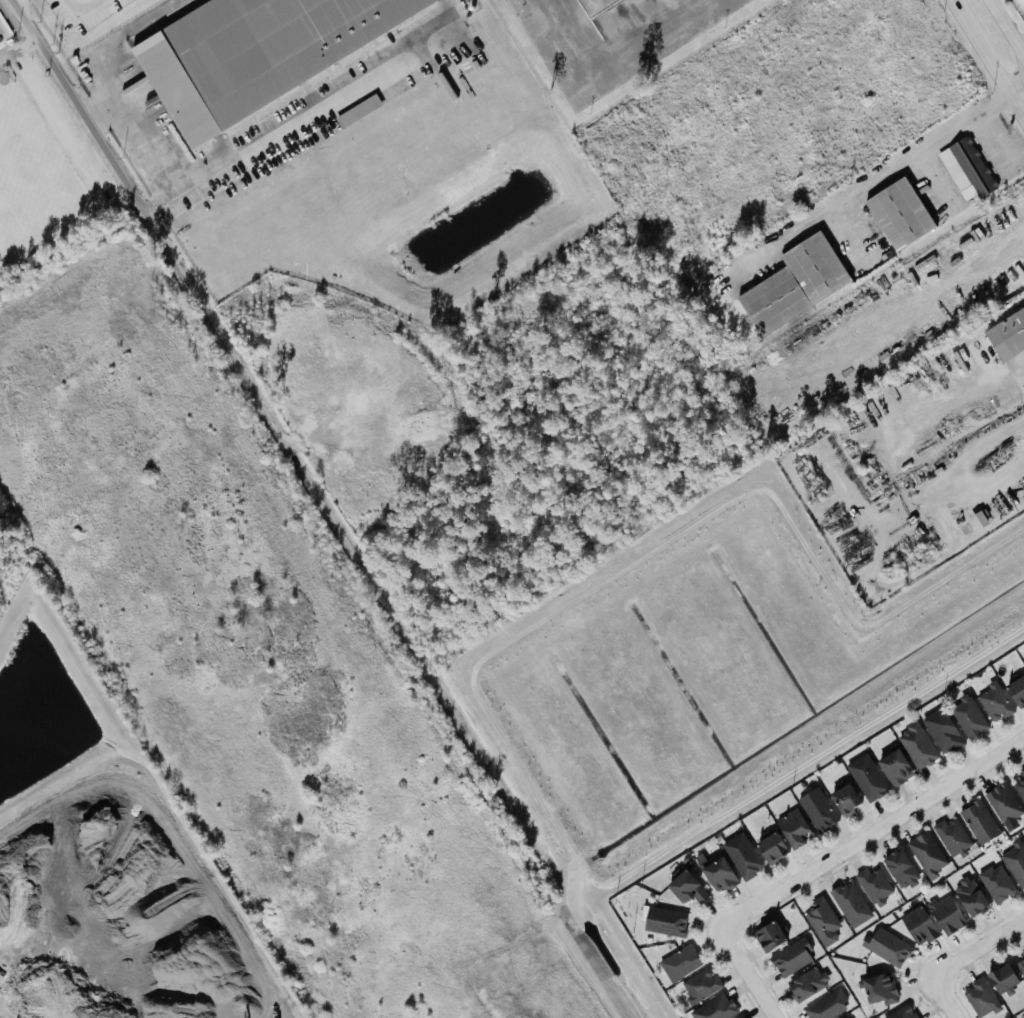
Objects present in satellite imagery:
building: (1018, 1)
road: (80, 15)
road: (1007, 26)
road: (1022, 46)
road: (16, 49)
building: (253, 54)
road: (986, 62)
road: (1015, 90)
road: (97, 105)
road: (997, 134)
building: (964, 169)
park: (31, 175)
road: (935, 179)
road: (201, 183)
road: (868, 184)
building: (896, 213)
road: (857, 233)
building: (791, 283)
building: (1006, 334)
road: (1021, 371)
road: (250, 391)
road: (957, 476)
building: (977, 520)
building: (1023, 664)
building: (1016, 691)
building: (993, 702)
building: (967, 717)
building: (941, 730)
building: (916, 746)
building: (894, 768)
building: (866, 777)
building: (1019, 784)
building: (844, 799)
building: (1002, 803)
building: (817, 810)
building: (978, 821)
building: (791, 828)
road: (872, 833)
building: (951, 836)
building: (770, 848)
building: (926, 854)
building: (741, 856)
building: (1015, 864)
building: (898, 869)
building: (717, 875)
building: (995, 883)
building: (873, 885)
building: (685, 888)
building: (967, 897)
building: (849, 904)
building: (945, 914)
building: (664, 921)
building: (822, 921)
building: (917, 926)
building: (768, 936)
building: (885, 946)
road: (978, 947)
building: (1023, 954)
building: (791, 957)
building: (679, 963)
building: (1020, 967)
road: (747, 973)
building: (1001, 978)
building: (806, 984)
building: (699, 985)
building: (878, 989)
road: (944, 997)
building: (979, 997)
building: (827, 1006)
building: (714, 1008)
building: (901, 1013)
building: (845, 1017)

